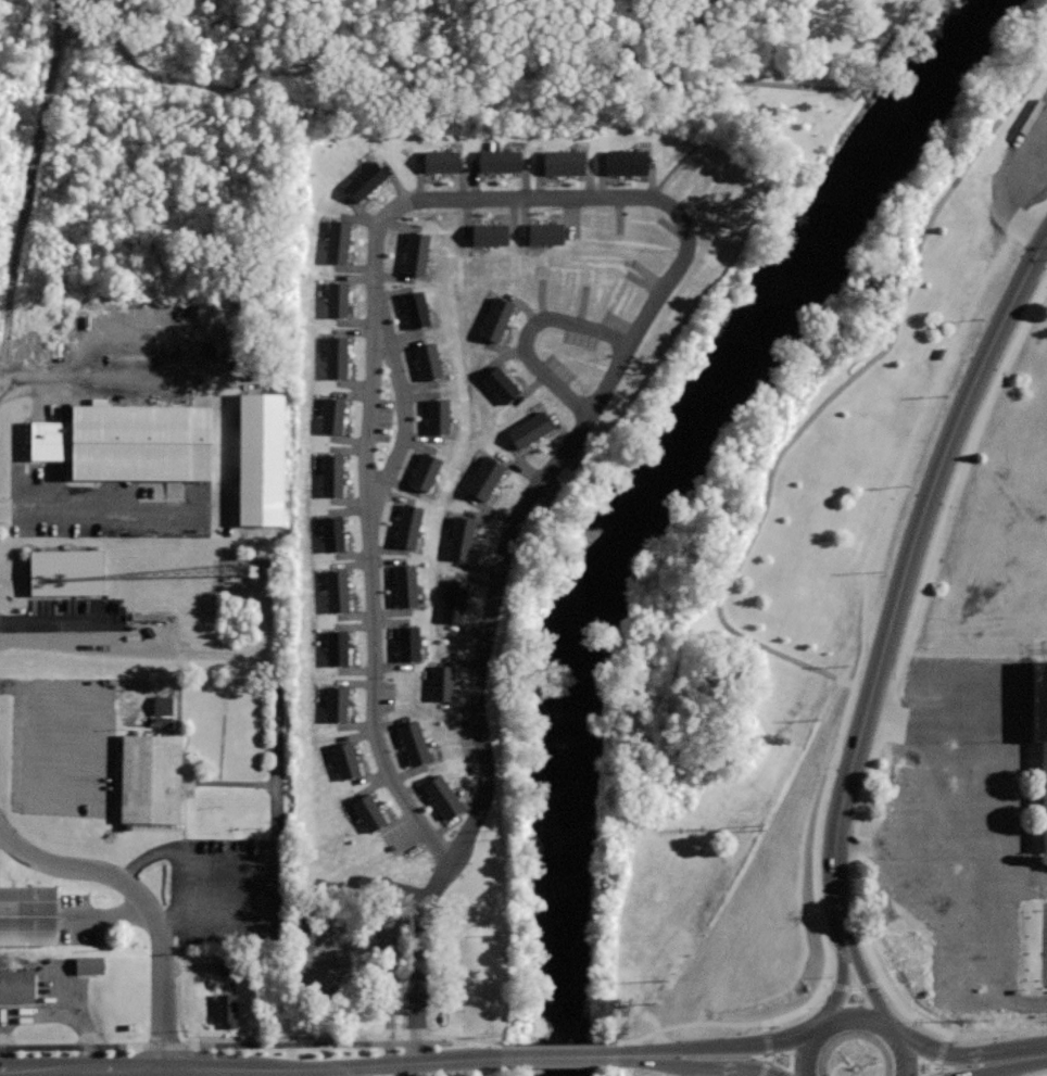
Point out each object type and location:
building: (648, 0)
road: (670, 35)
road: (176, 79)
road: (741, 83)
building: (439, 161)
building: (497, 162)
building: (562, 162)
building: (623, 163)
road: (34, 168)
parking lot: (1021, 176)
building: (362, 180)
road: (657, 199)
building: (541, 232)
building: (487, 233)
building: (335, 240)
building: (413, 253)
building: (336, 299)
building: (414, 309)
building: (493, 319)
road: (526, 331)
building: (335, 356)
building: (425, 359)
road: (974, 381)
building: (496, 384)
road: (833, 392)
building: (330, 416)
building: (437, 417)
road: (404, 420)
building: (525, 429)
building: (140, 440)
building: (48, 441)
parking lot: (133, 444)
road: (220, 446)
building: (262, 458)
building: (422, 472)
building: (329, 474)
building: (482, 479)
river: (642, 488)
building: (406, 526)
building: (330, 533)
building: (459, 539)
building: (66, 571)
building: (403, 585)
building: (333, 591)
building: (453, 600)
parking lot: (87, 625)
road: (88, 632)
building: (406, 644)
building: (337, 647)
road: (897, 662)
road: (924, 669)
building: (441, 684)
road: (13, 686)
building: (335, 705)
building: (160, 711)
road: (888, 714)
road: (273, 720)
road: (863, 723)
building: (1040, 729)
road: (838, 733)
building: (411, 742)
parking lot: (61, 745)
building: (342, 761)
building: (150, 777)
building: (440, 796)
road: (938, 797)
road: (102, 805)
building: (366, 811)
parking lot: (962, 822)
road: (981, 835)
road: (859, 845)
road: (931, 848)
road: (1035, 877)
parking lot: (227, 889)
road: (227, 889)
road: (277, 900)
road: (147, 902)
building: (28, 913)
road: (168, 921)
building: (300, 937)
parking lot: (1044, 944)
building: (392, 959)
building: (90, 964)
road: (842, 965)
road: (862, 966)
building: (317, 971)
building: (16, 985)
road: (850, 988)
road: (62, 995)
parking lot: (54, 1000)
road: (1027, 1000)
building: (226, 1009)
road: (858, 1009)
road: (40, 1013)
road: (345, 1037)
road: (766, 1038)
road: (923, 1038)
road: (680, 1045)
road: (164, 1046)
road: (994, 1046)
road: (73, 1047)
road: (767, 1049)
road: (802, 1050)
road: (910, 1052)
road: (938, 1053)
road: (631, 1054)
road: (668, 1056)
road: (563, 1058)
road: (742, 1061)
road: (996, 1065)
road: (253, 1069)
wastewater plant: (262, 1069)
road: (130, 1072)
road: (349, 1072)
road: (1045, 1075)

